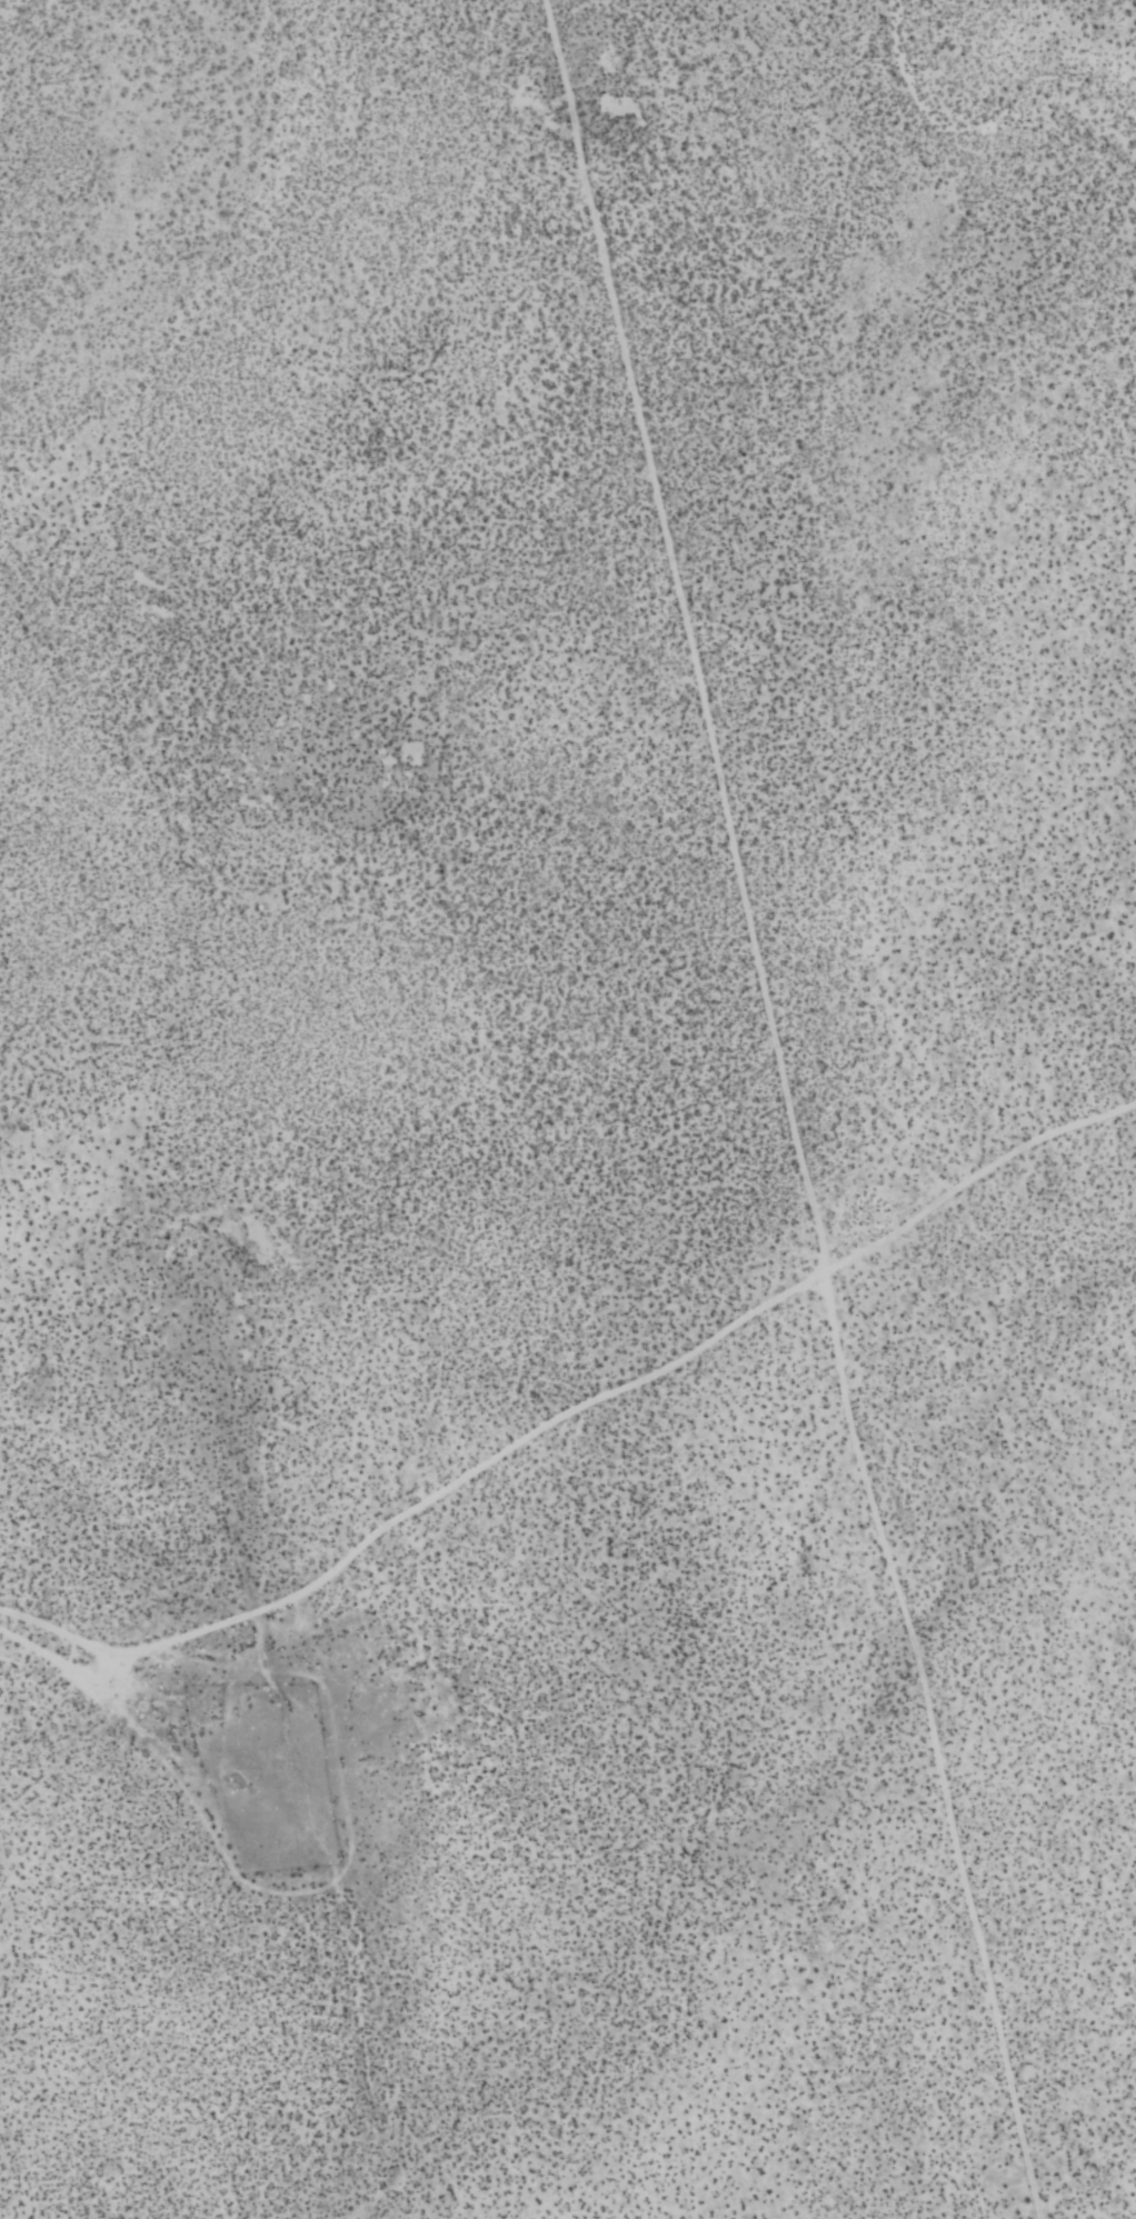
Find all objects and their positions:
road: (790, 1111)
road: (974, 1173)
road: (416, 1500)

